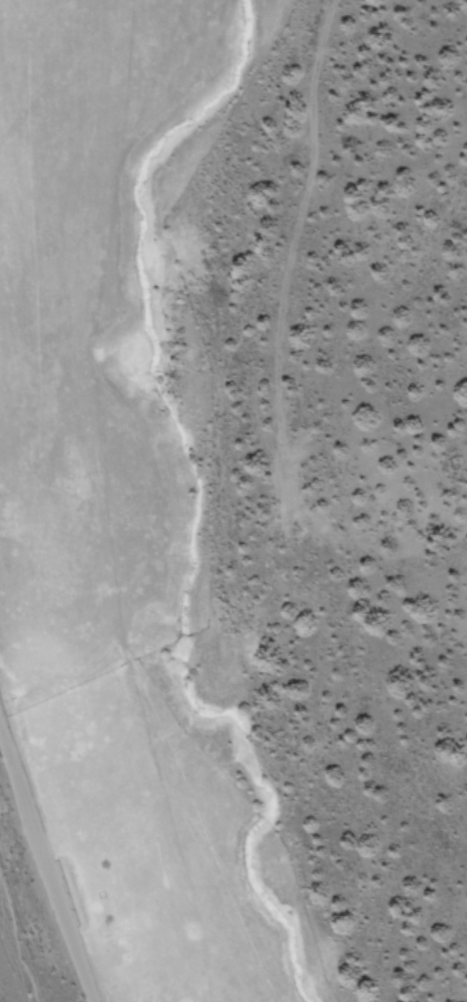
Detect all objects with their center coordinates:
road: (59, 826)

